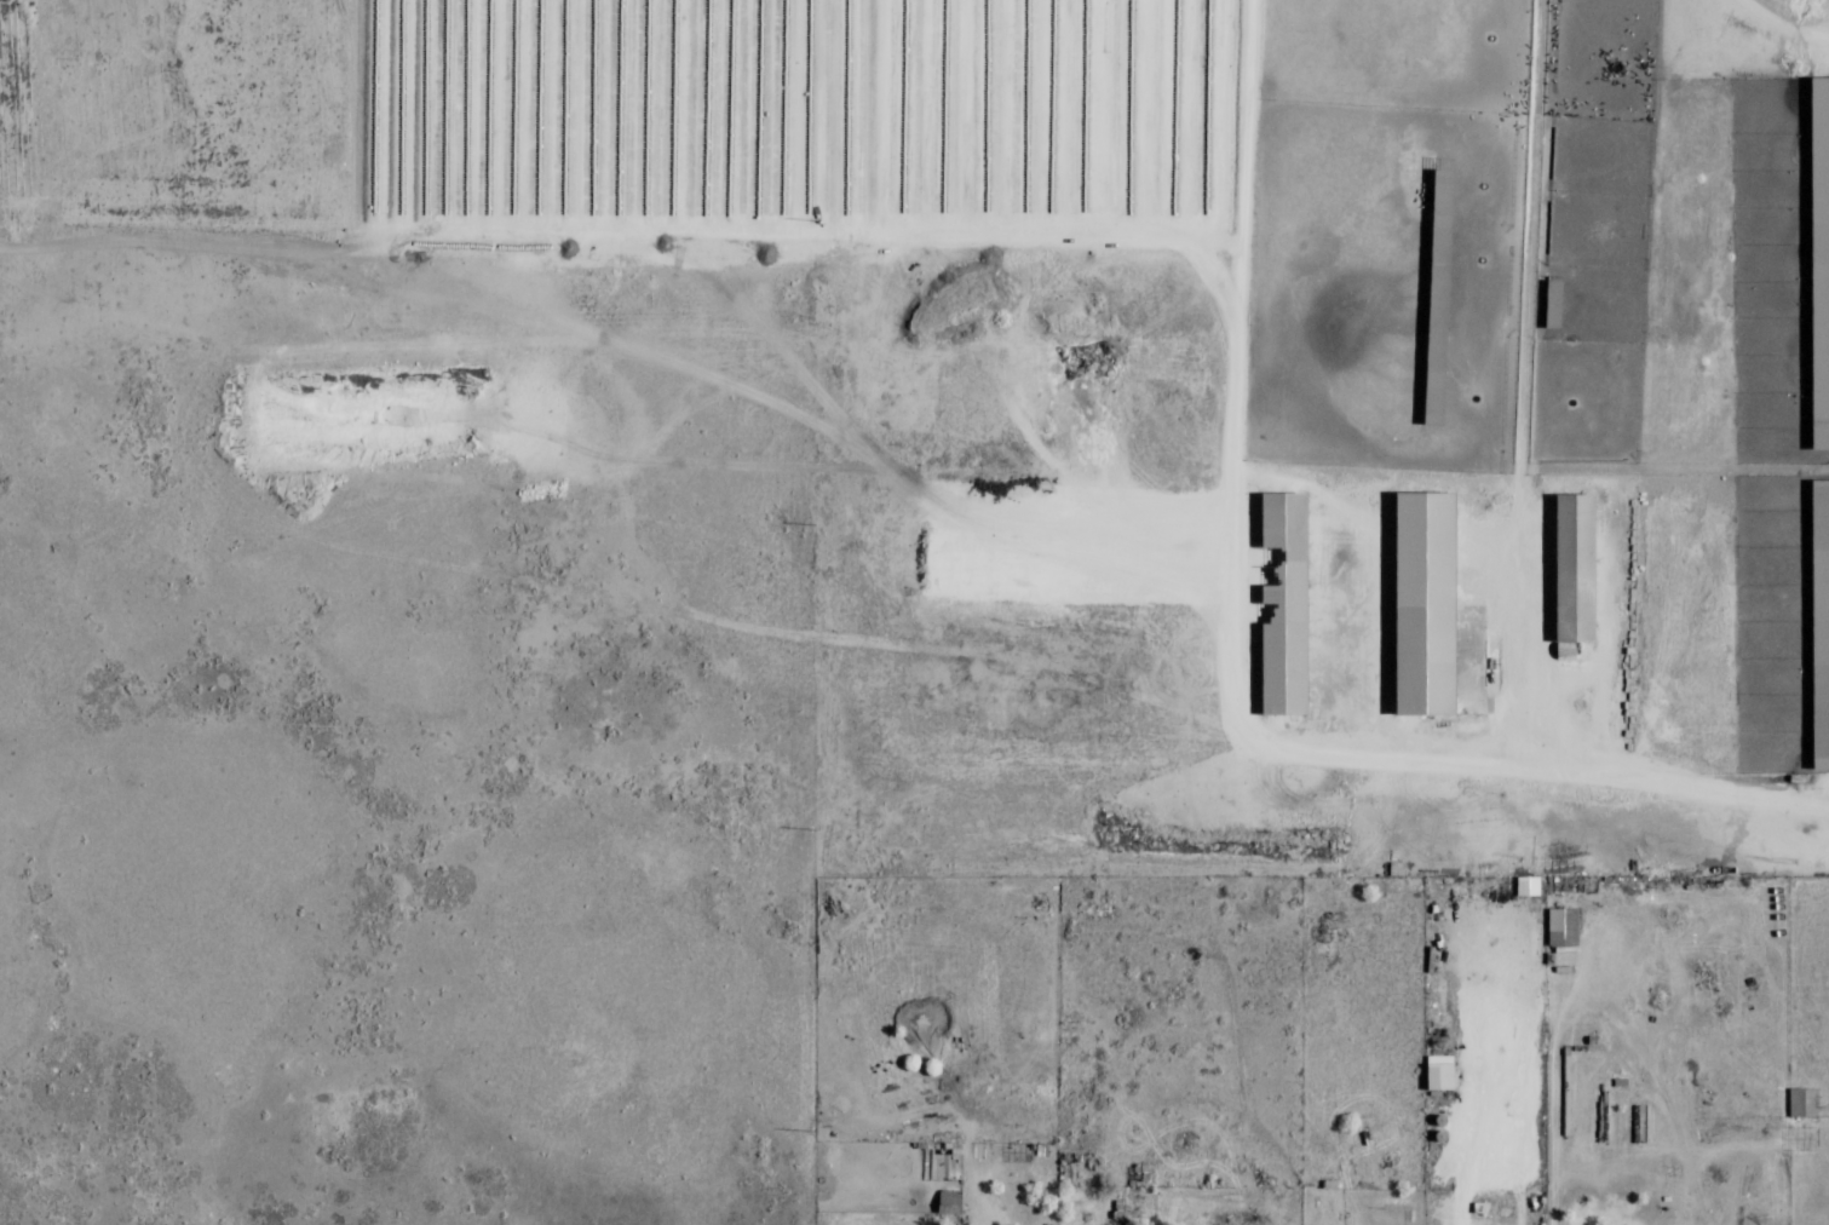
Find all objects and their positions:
building: (1818, 260)
building: (1572, 568)
building: (1283, 606)
building: (1819, 622)
building: (1526, 886)
building: (1561, 927)
building: (1438, 1072)

